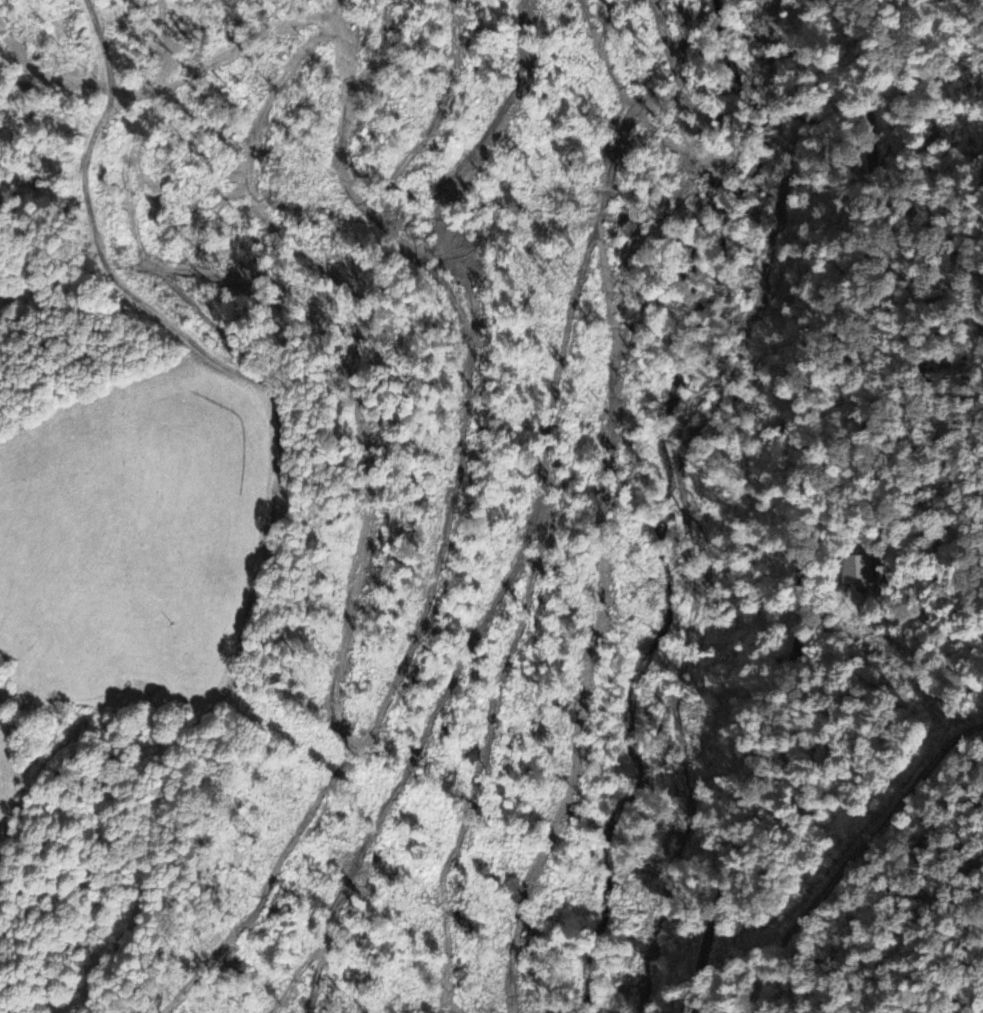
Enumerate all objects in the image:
road: (804, 507)

